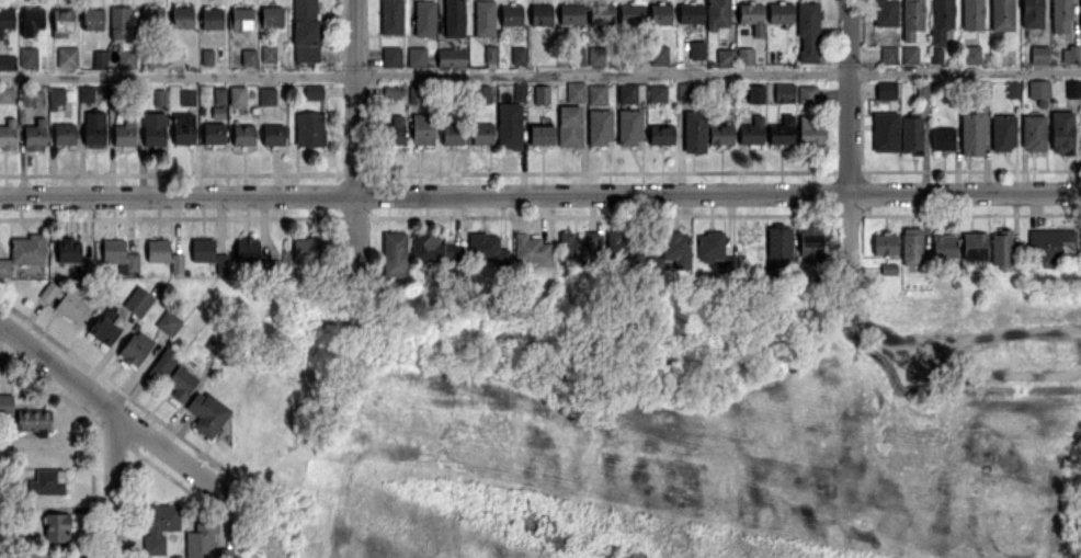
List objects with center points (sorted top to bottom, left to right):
road: (540, 73)
road: (850, 96)
road: (356, 98)
road: (540, 195)
road: (853, 292)
parking lot: (1014, 326)
road: (1003, 333)
parking lot: (971, 369)
road: (1000, 373)
road: (115, 412)
road: (117, 486)

